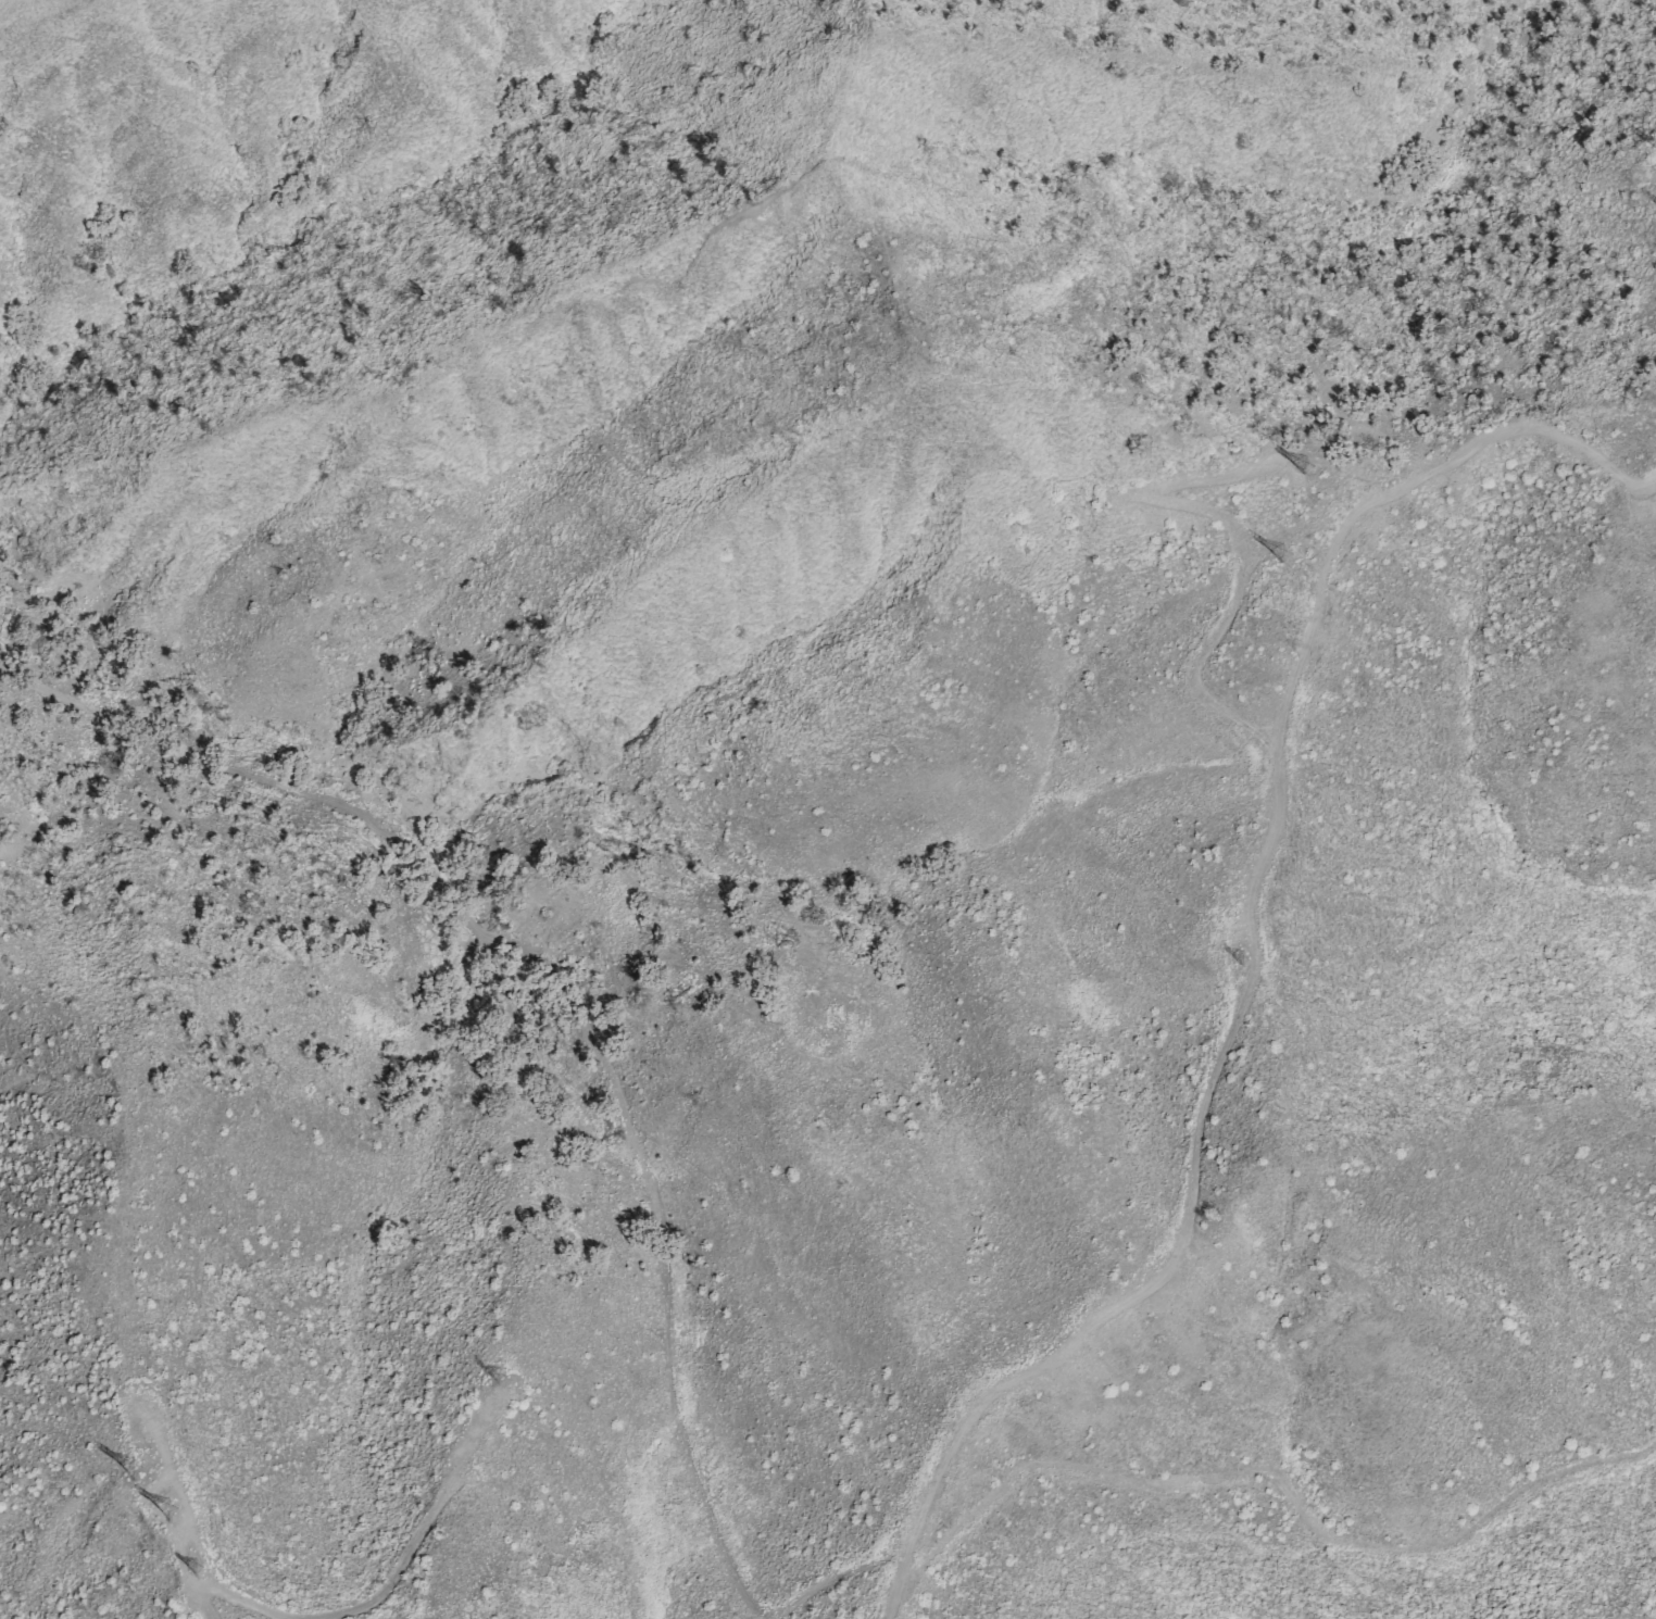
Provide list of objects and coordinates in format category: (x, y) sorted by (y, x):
power tower: (1306, 469)
power tower: (1282, 557)
power tower: (1243, 958)
power tower: (499, 1376)
power tower: (131, 1468)
power tower: (164, 1509)
power tower: (197, 1570)

